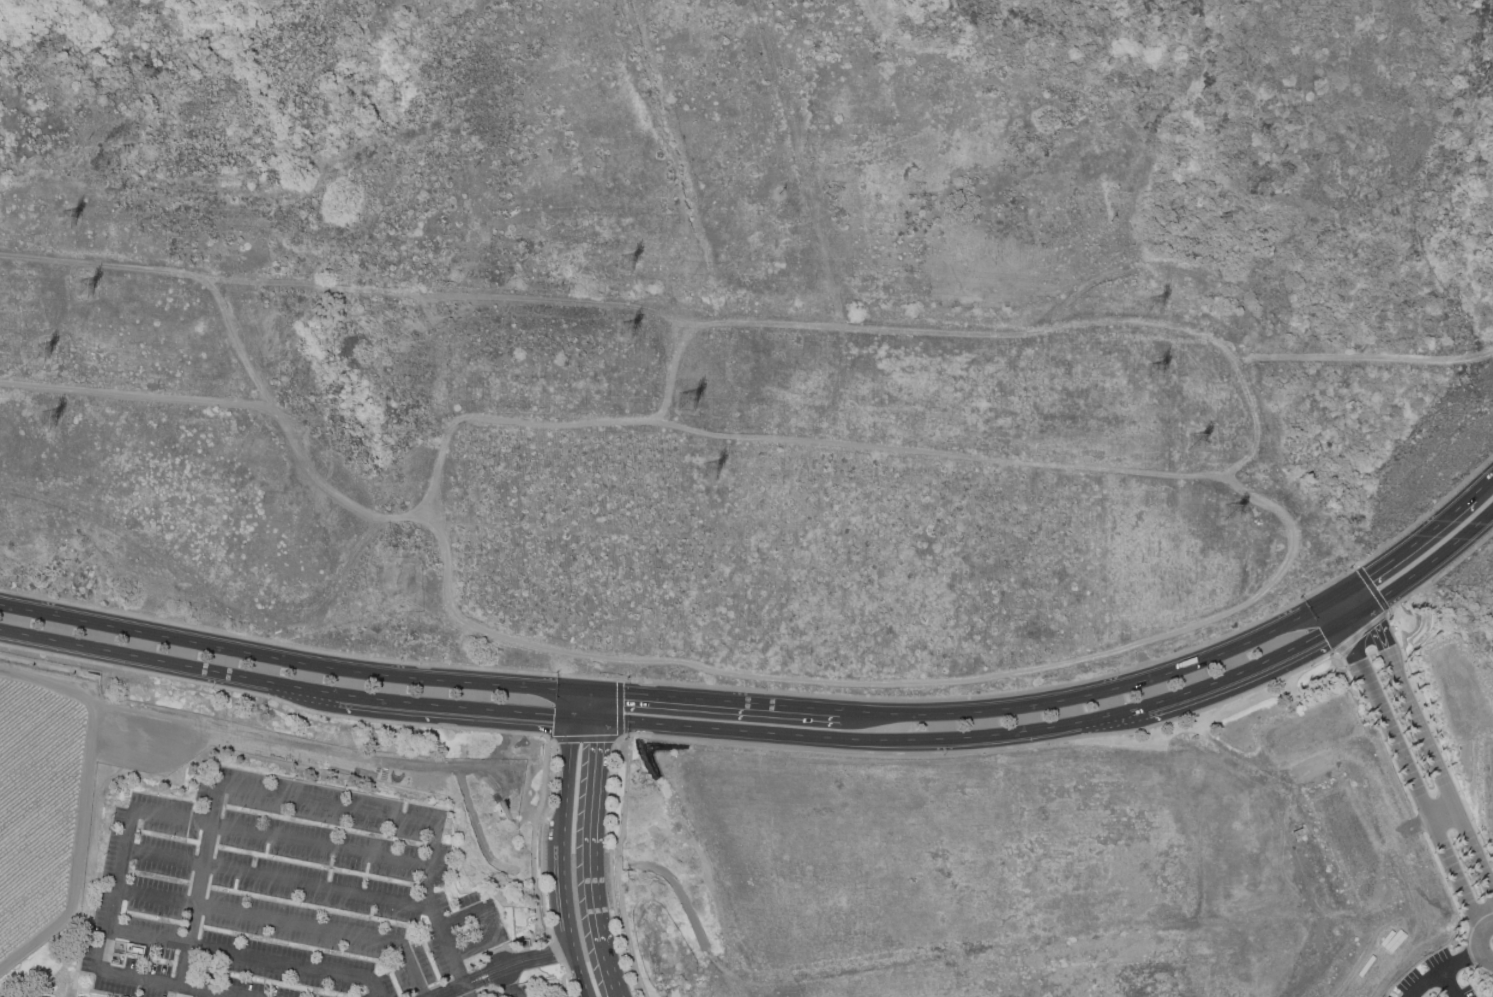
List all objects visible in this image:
power tower: (69, 222)
power tower: (627, 267)
power tower: (88, 293)
power tower: (1163, 305)
power tower: (625, 334)
power tower: (42, 356)
road: (1364, 358)
power tower: (1158, 369)
road: (1241, 383)
road: (142, 394)
power tower: (689, 404)
power tower: (49, 423)
power tower: (1233, 442)
power tower: (1196, 447)
road: (307, 468)
power tower: (711, 474)
road: (1483, 485)
power tower: (1238, 511)
road: (1416, 541)
power tower: (1302, 552)
road: (1433, 563)
street lamp: (1348, 568)
road: (1440, 575)
traffic signals: (1355, 583)
road: (1373, 590)
road: (11, 592)
road: (1339, 592)
road: (1363, 596)
street lamp: (1298, 598)
traffic signals: (1324, 602)
traffic signals: (1371, 609)
street lamp: (1388, 613)
road: (1331, 614)
road: (1355, 618)
traffic signals: (1339, 627)
road: (1363, 638)
road: (286, 659)
street lamp: (1337, 661)
road: (170, 665)
street lamp: (1309, 667)
street lamp: (1111, 671)
road: (1244, 671)
street lamp: (555, 672)
street lamp: (625, 678)
road: (893, 684)
street lamp: (761, 688)
traffic signals: (576, 690)
road: (590, 691)
traffic signals: (604, 692)
road: (787, 694)
road: (1089, 694)
road: (721, 700)
road: (574, 705)
road: (602, 707)
road: (456, 709)
road: (374, 721)
traffic signals: (573, 721)
road: (587, 722)
traffic signals: (601, 723)
road: (624, 737)
road: (616, 739)
street lamp: (548, 740)
street lamp: (623, 740)
road: (874, 741)
road: (993, 749)
road: (1431, 751)
street lamp: (941, 756)
road: (1410, 778)
road: (567, 782)
road: (248, 791)
crop: (36, 803)
road: (1442, 814)
road: (193, 822)
road: (533, 839)
road: (593, 861)
building: (159, 866)
road: (617, 867)
road: (608, 869)
road: (273, 879)
building: (152, 894)
road: (564, 896)
road: (284, 922)
road: (485, 926)
road: (1477, 944)
road: (559, 954)
road: (244, 955)
road: (503, 968)
road: (1442, 971)
road: (580, 972)
parking lot: (1437, 976)
road: (509, 982)
road: (568, 982)
road: (1447, 984)
road: (564, 985)
road: (467, 991)
parking lot: (1389, 996)

